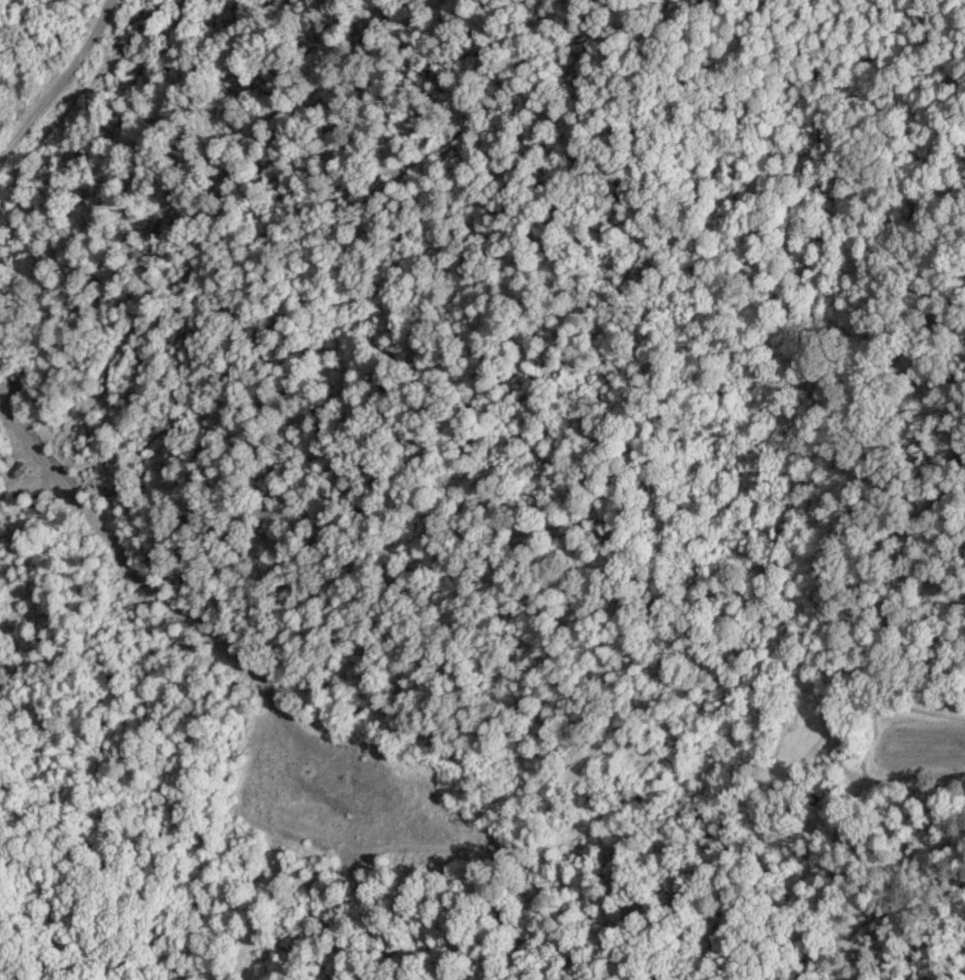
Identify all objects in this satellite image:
road: (59, 80)
road: (64, 485)

